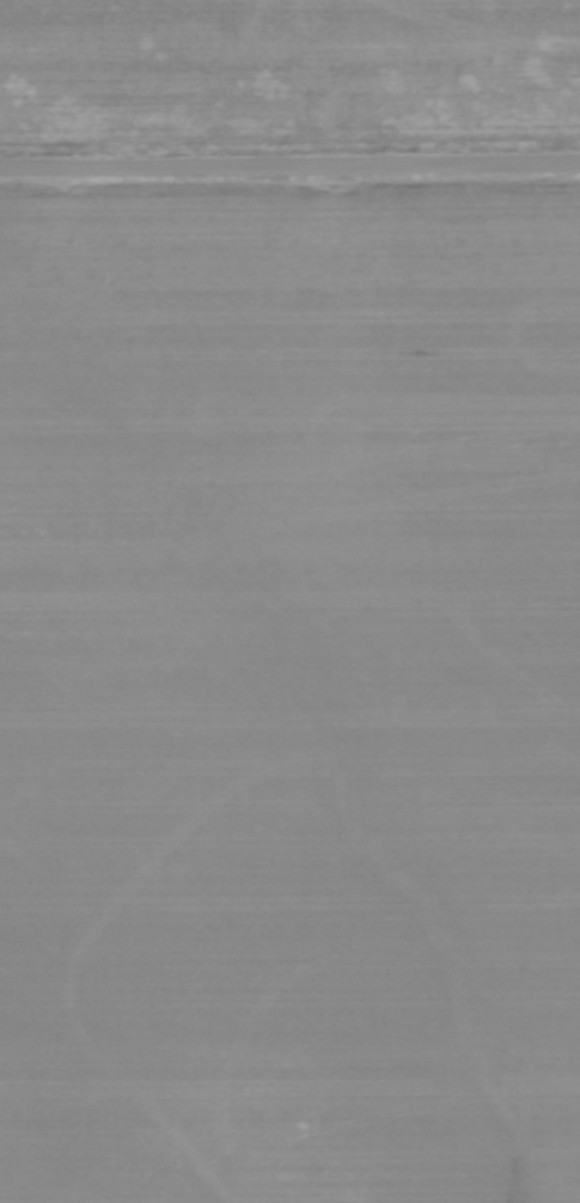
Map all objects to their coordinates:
road: (289, 161)

